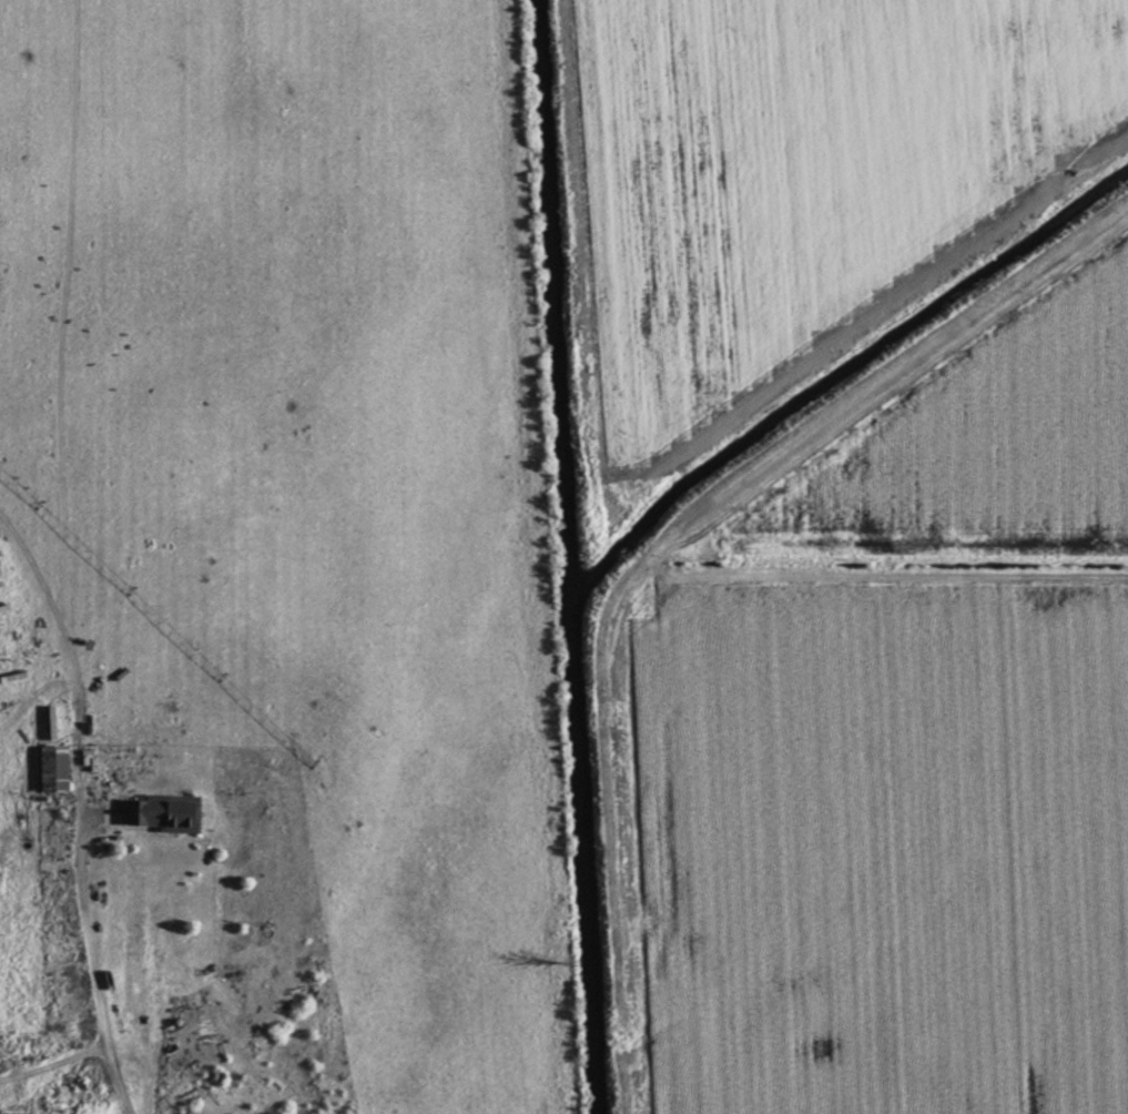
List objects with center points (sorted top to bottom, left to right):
building: (57, 769)
building: (169, 813)

